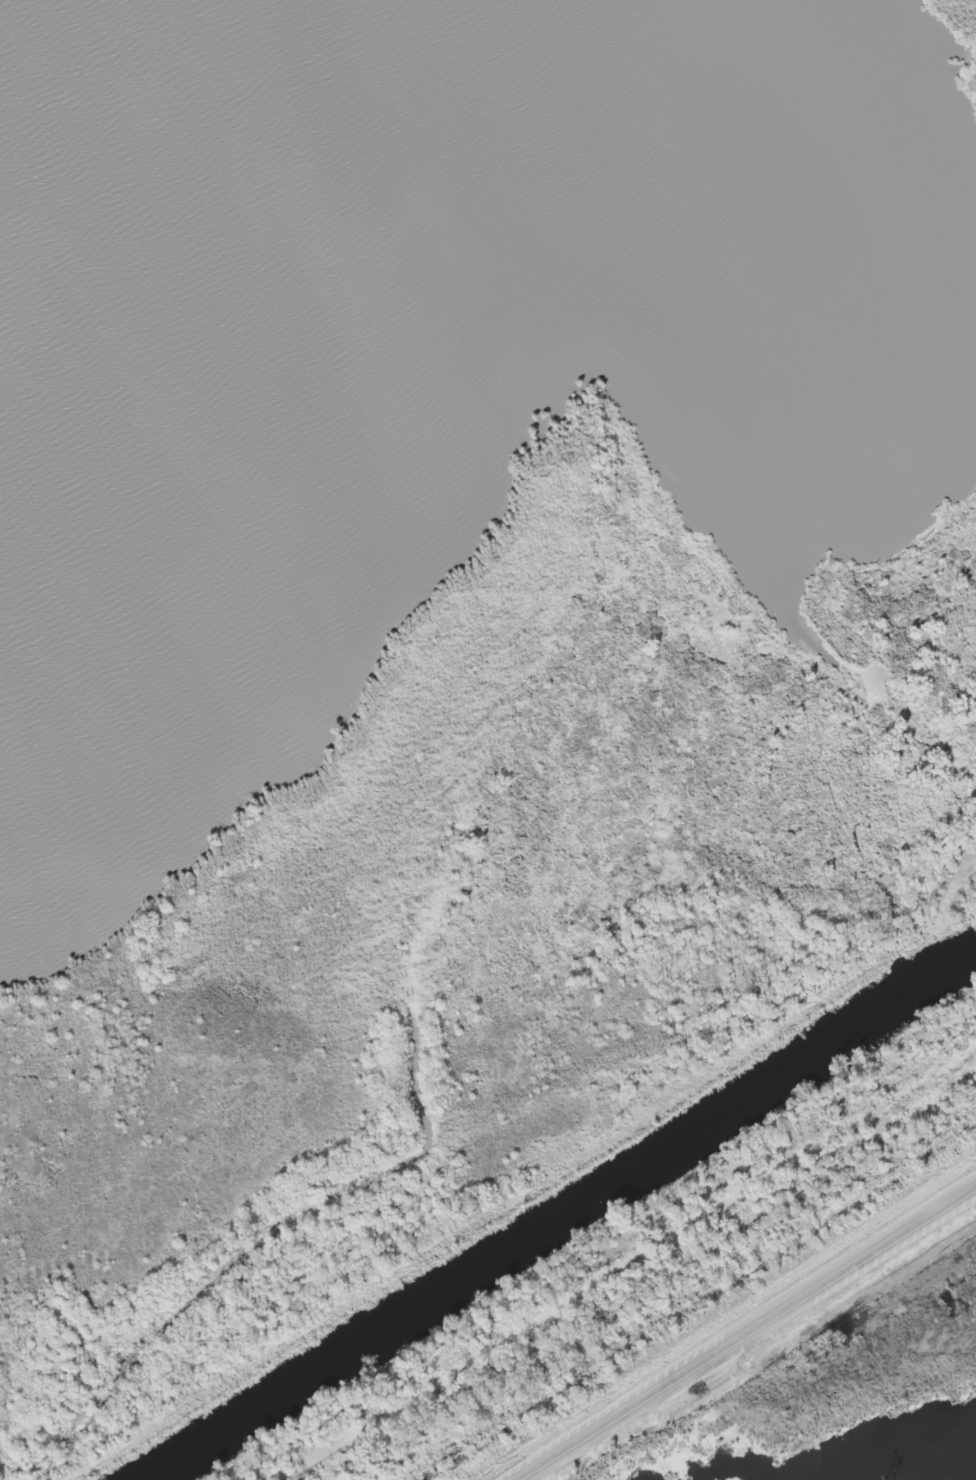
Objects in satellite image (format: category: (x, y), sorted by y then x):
road: (745, 1333)

